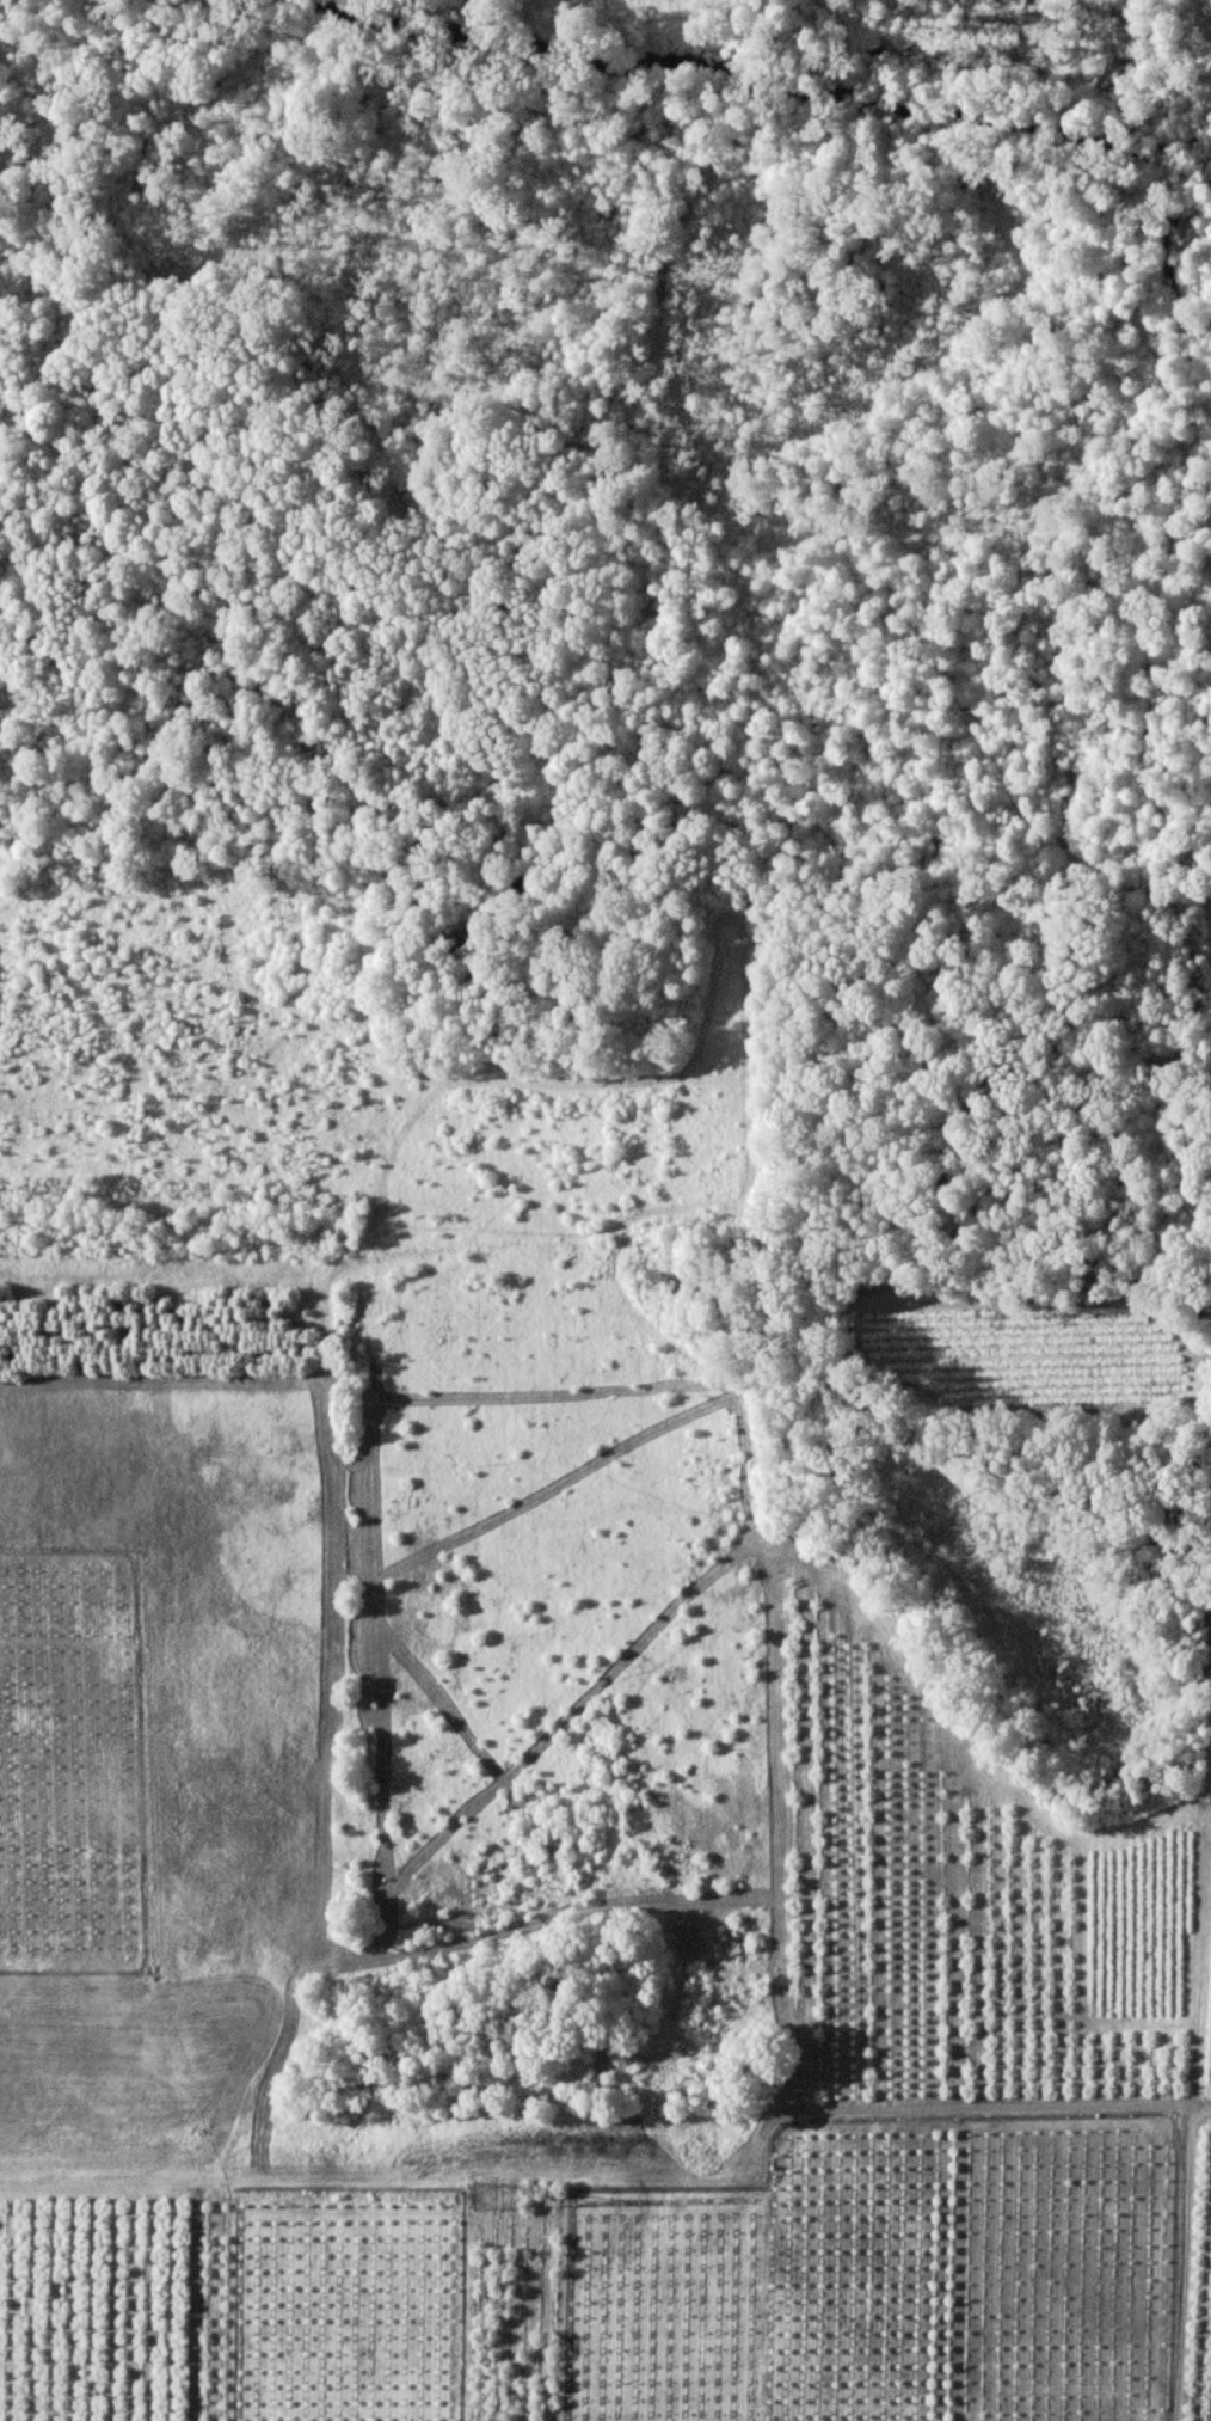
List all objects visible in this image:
power tower: (478, 2190)

